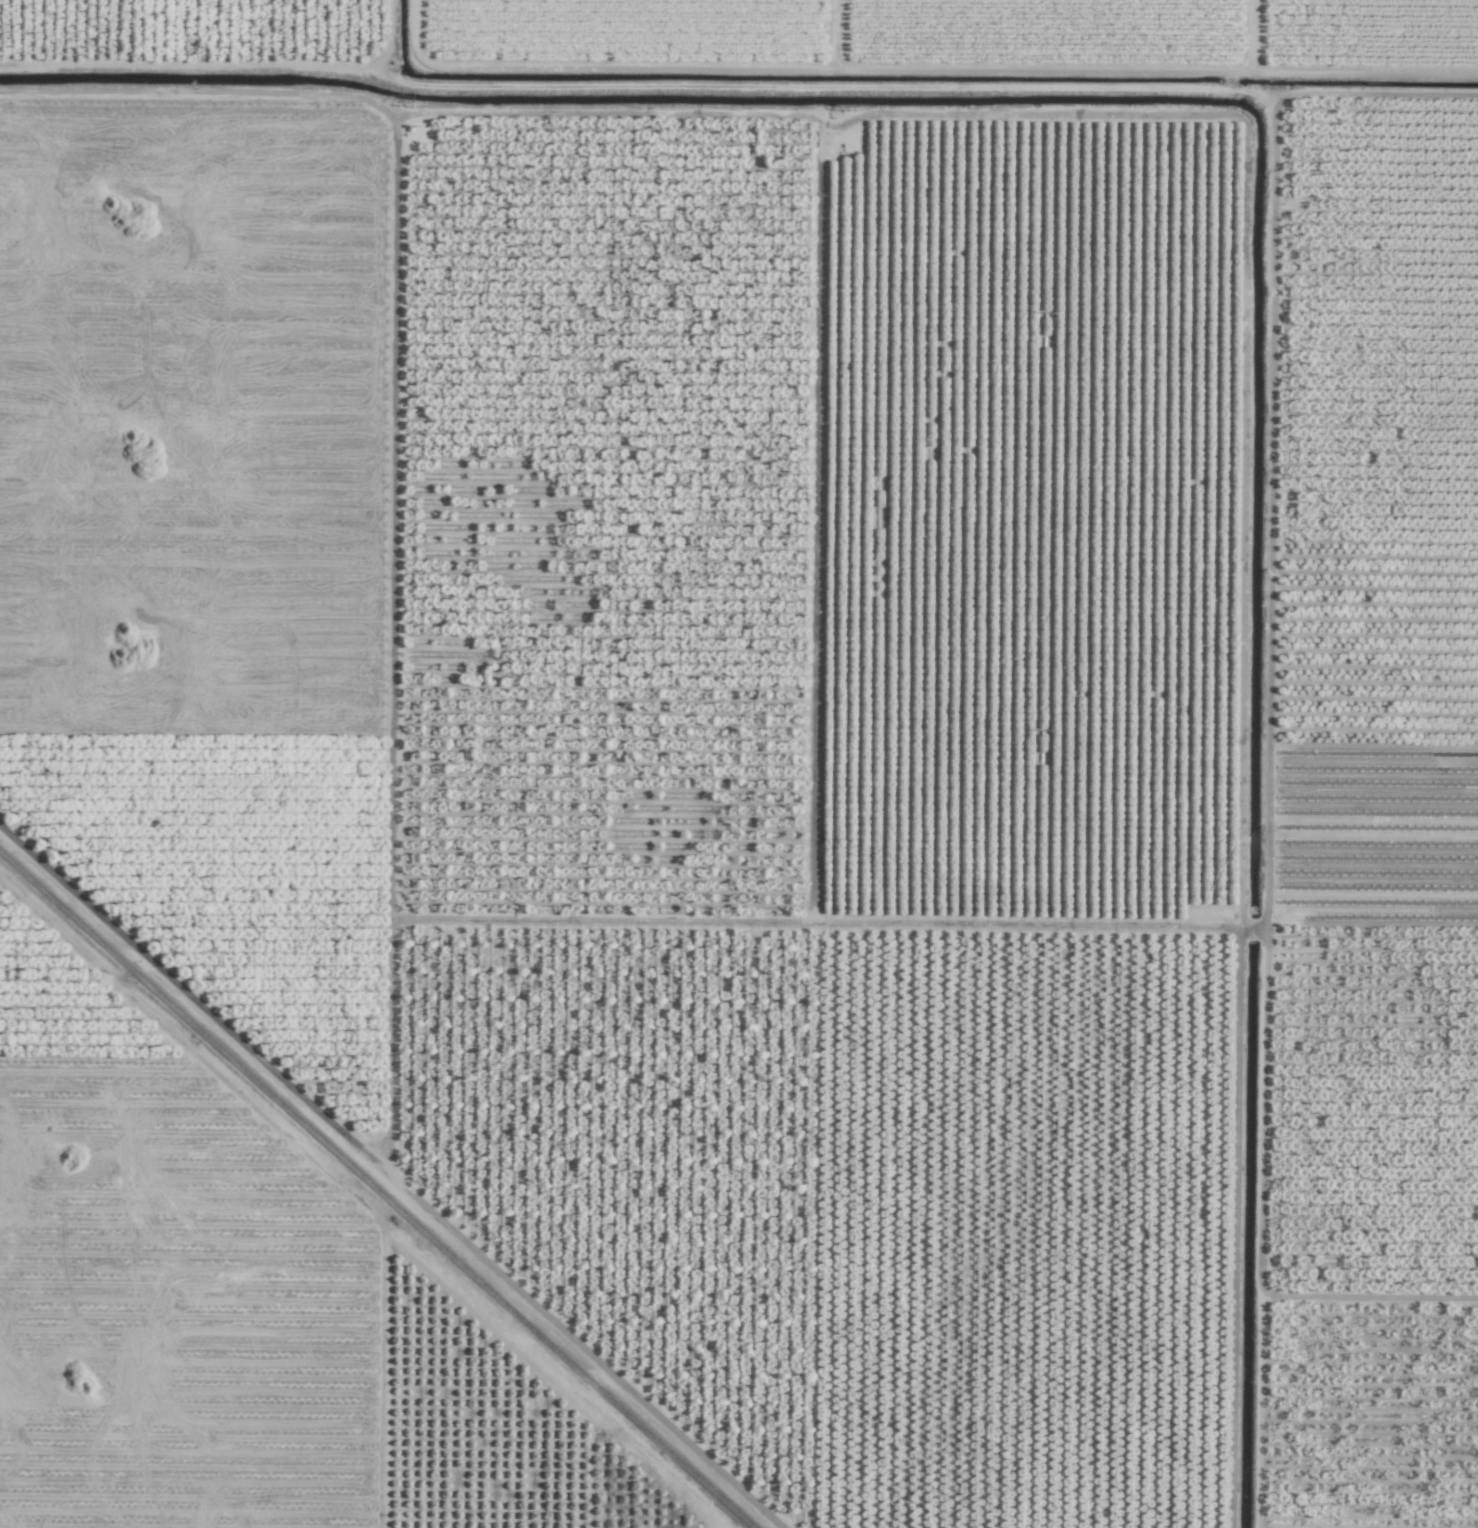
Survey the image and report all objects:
railway: (375, 1191)

